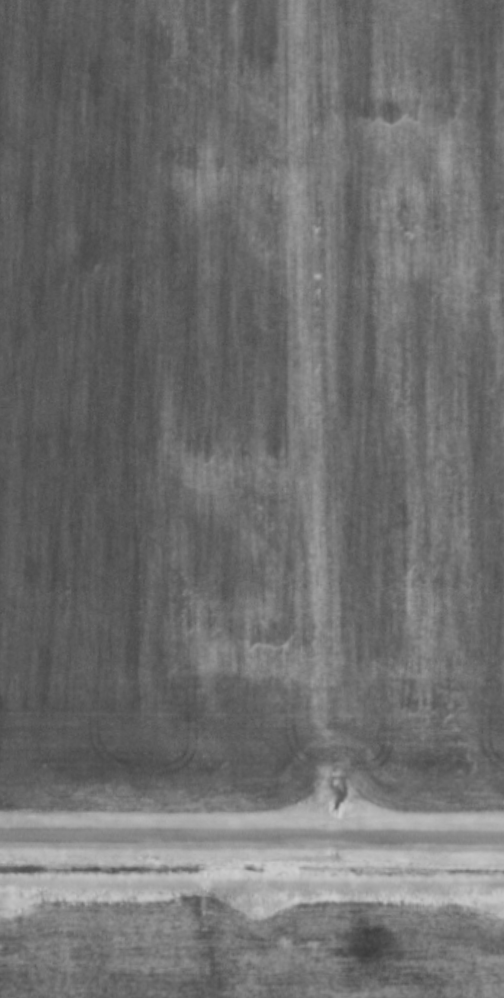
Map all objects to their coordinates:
road: (252, 837)

